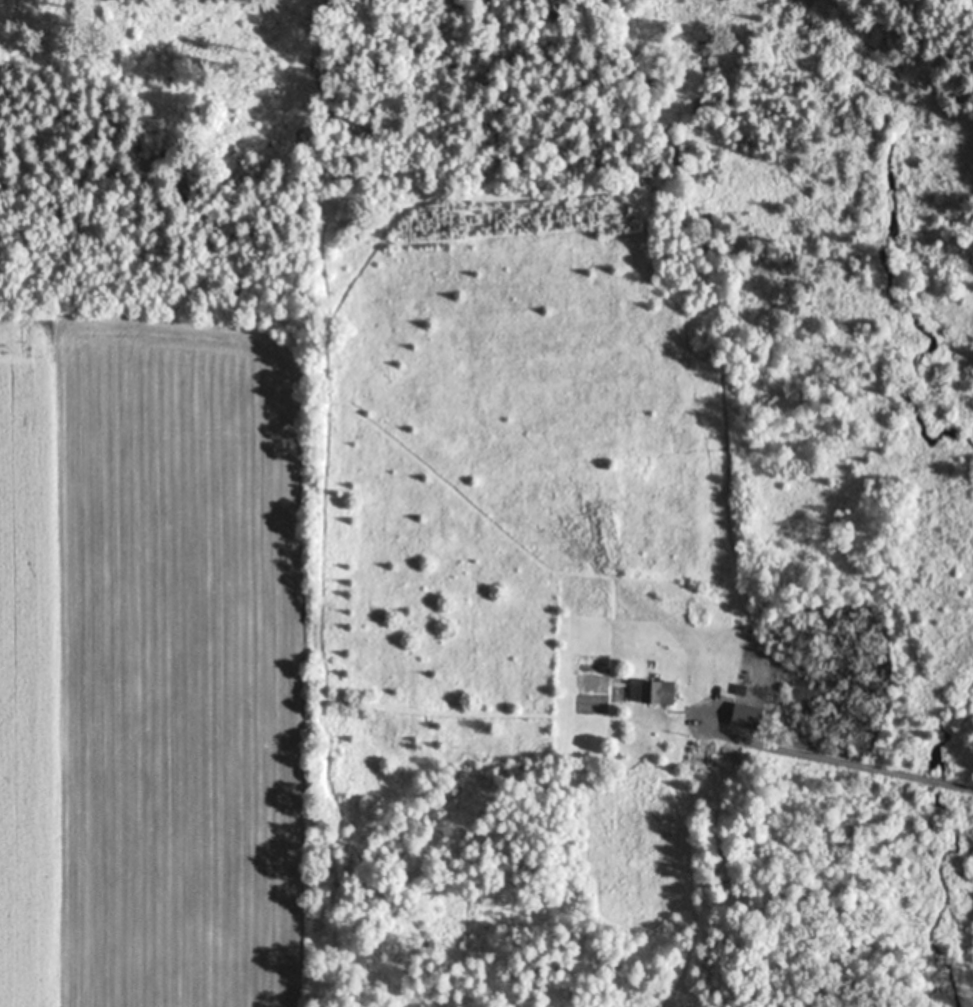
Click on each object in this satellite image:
building: (660, 690)
building: (749, 715)
building: (698, 757)

